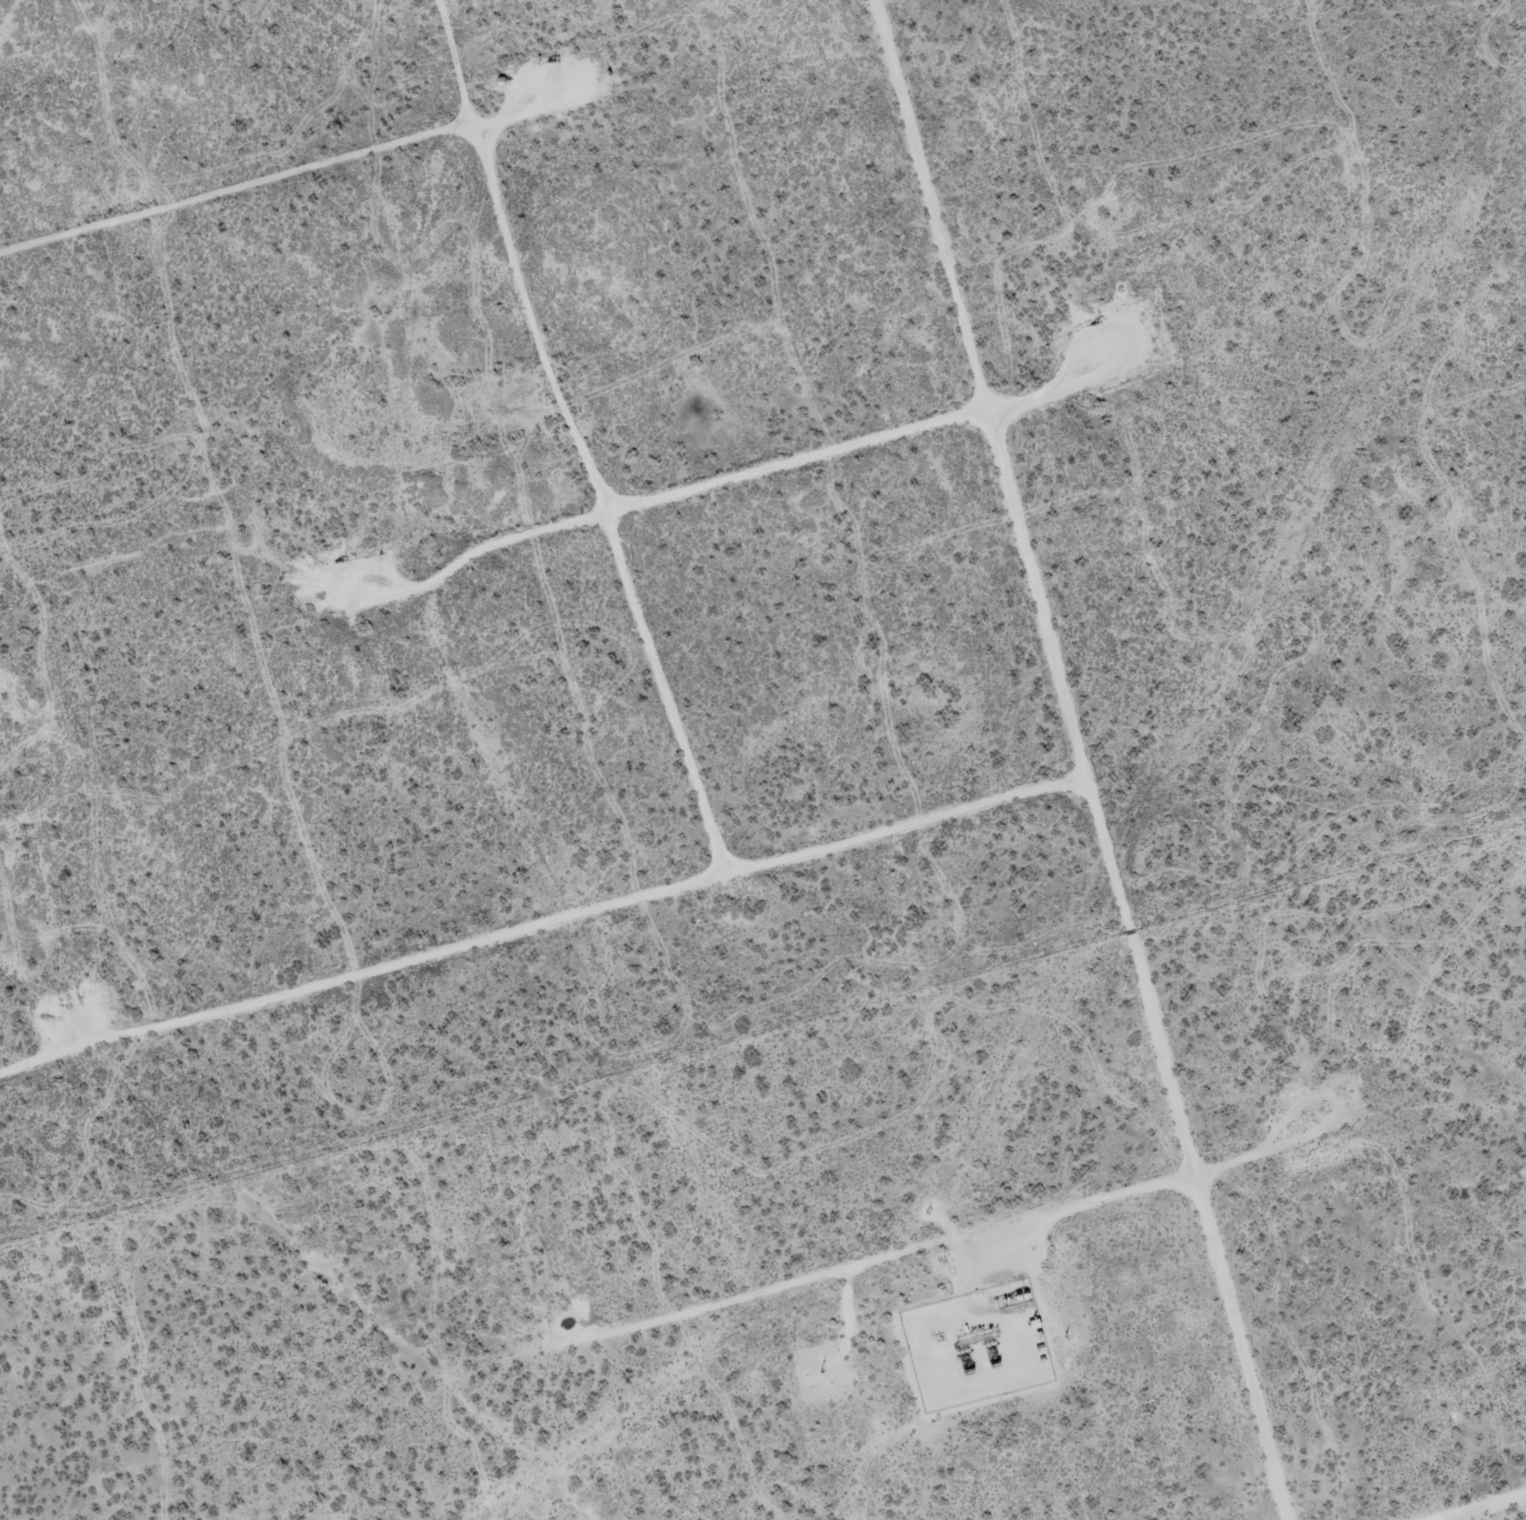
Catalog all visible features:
road: (239, 190)
road: (579, 437)
road: (797, 461)
road: (1084, 760)
road: (545, 924)
road: (876, 1261)
road: (1486, 1508)

